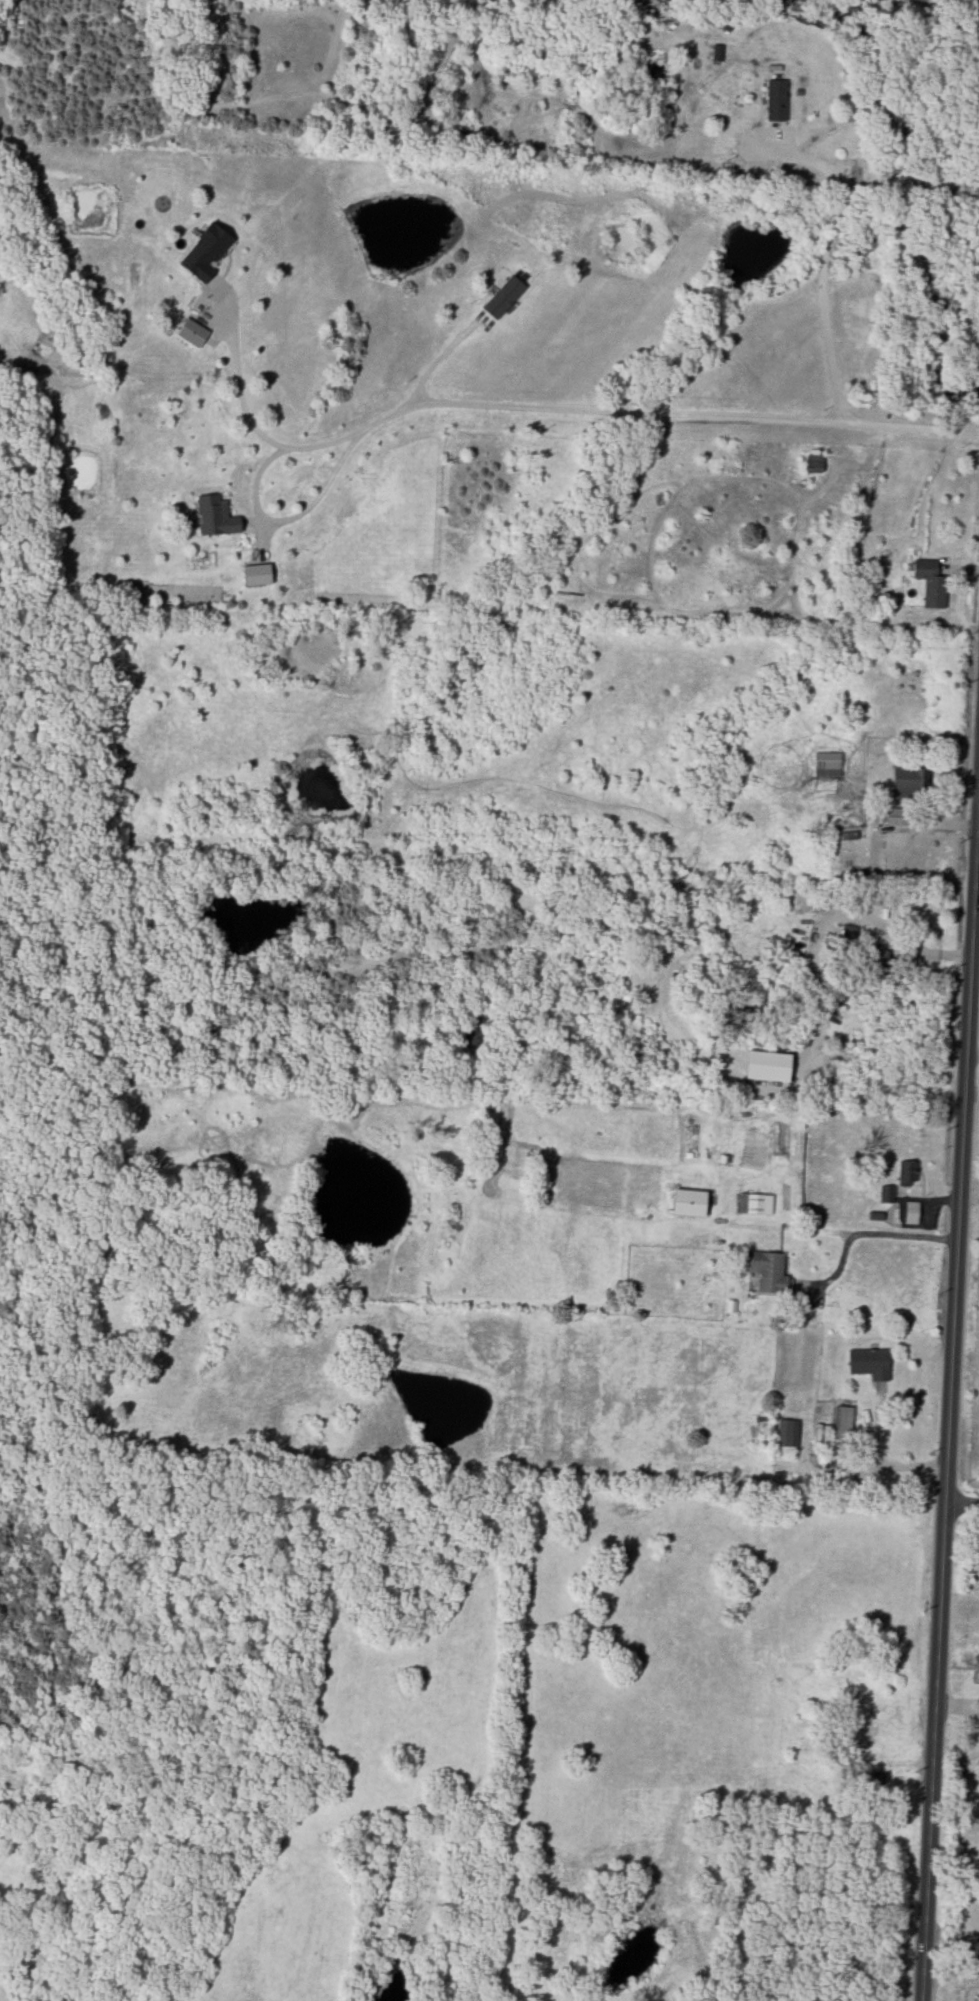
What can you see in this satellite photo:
building: (775, 100)
building: (204, 252)
road: (823, 257)
building: (503, 297)
building: (191, 332)
road: (434, 359)
road: (560, 405)
building: (215, 516)
road: (287, 519)
building: (256, 574)
building: (930, 583)
building: (827, 764)
building: (908, 780)
building: (895, 816)
road: (978, 820)
building: (849, 934)
building: (878, 956)
building: (767, 1065)
building: (906, 1172)
building: (886, 1193)
building: (688, 1202)
building: (910, 1212)
road: (846, 1232)
building: (768, 1271)
building: (869, 1362)
road: (954, 1398)
building: (844, 1423)
building: (788, 1432)
road: (885, 1467)
road: (964, 1501)
building: (976, 1664)
road: (960, 1713)
road: (955, 1958)

